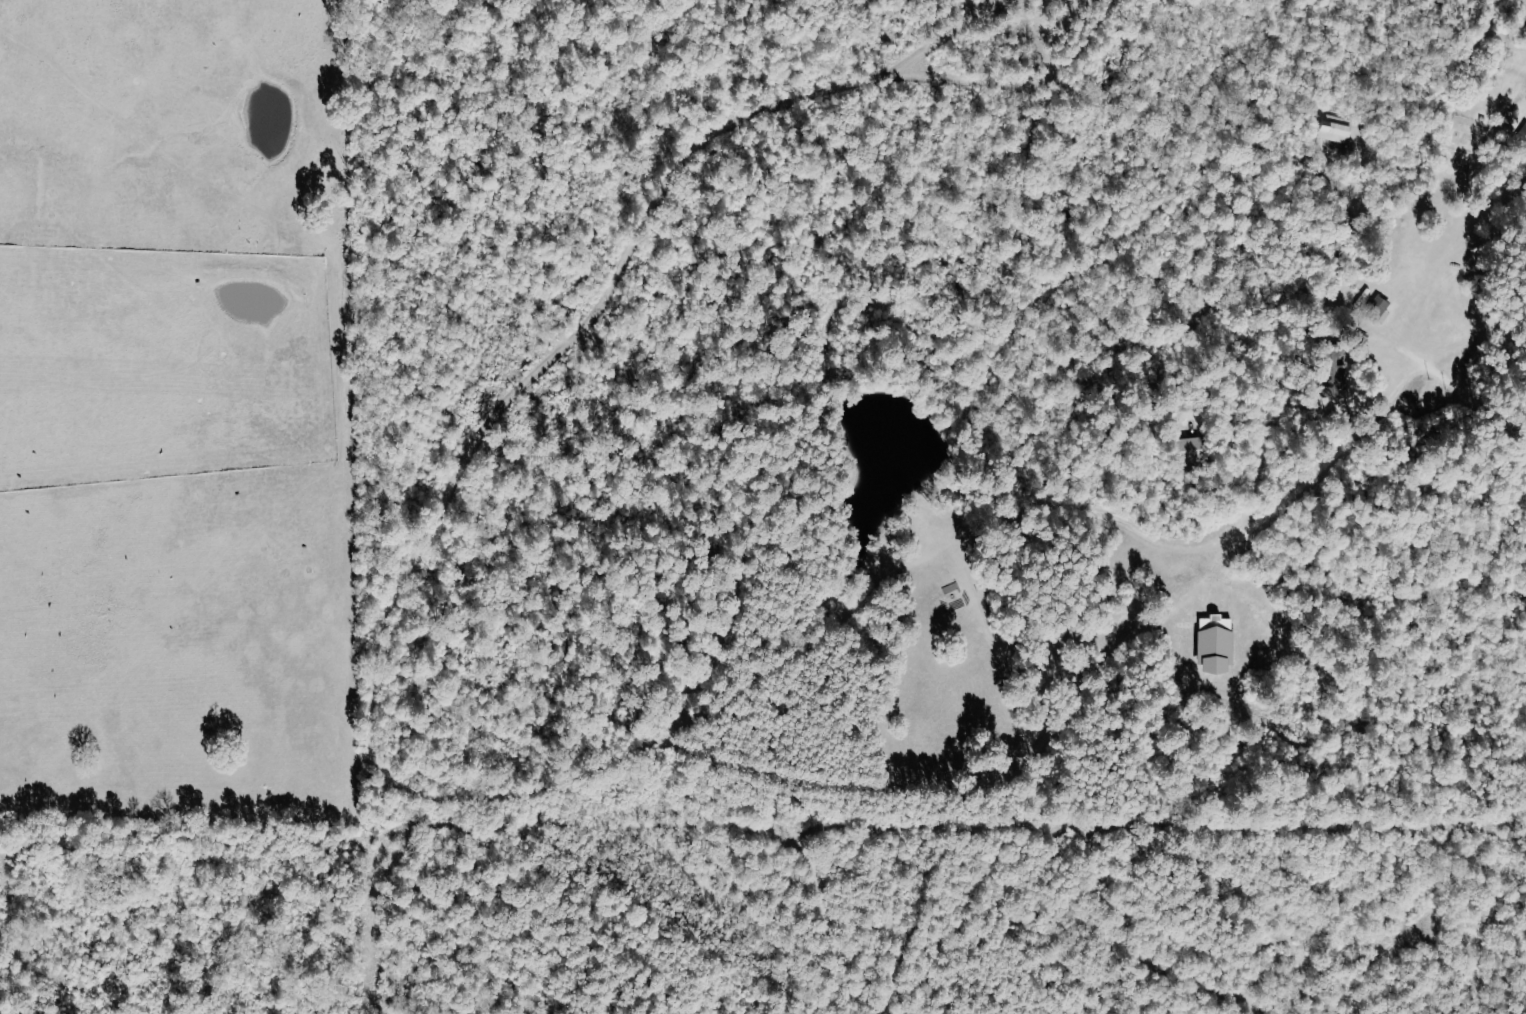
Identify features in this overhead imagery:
building: (1336, 129)
building: (1378, 306)
road: (1476, 340)
building: (1337, 371)
road: (1476, 400)
building: (1194, 449)
road: (1311, 472)
building: (1217, 645)

